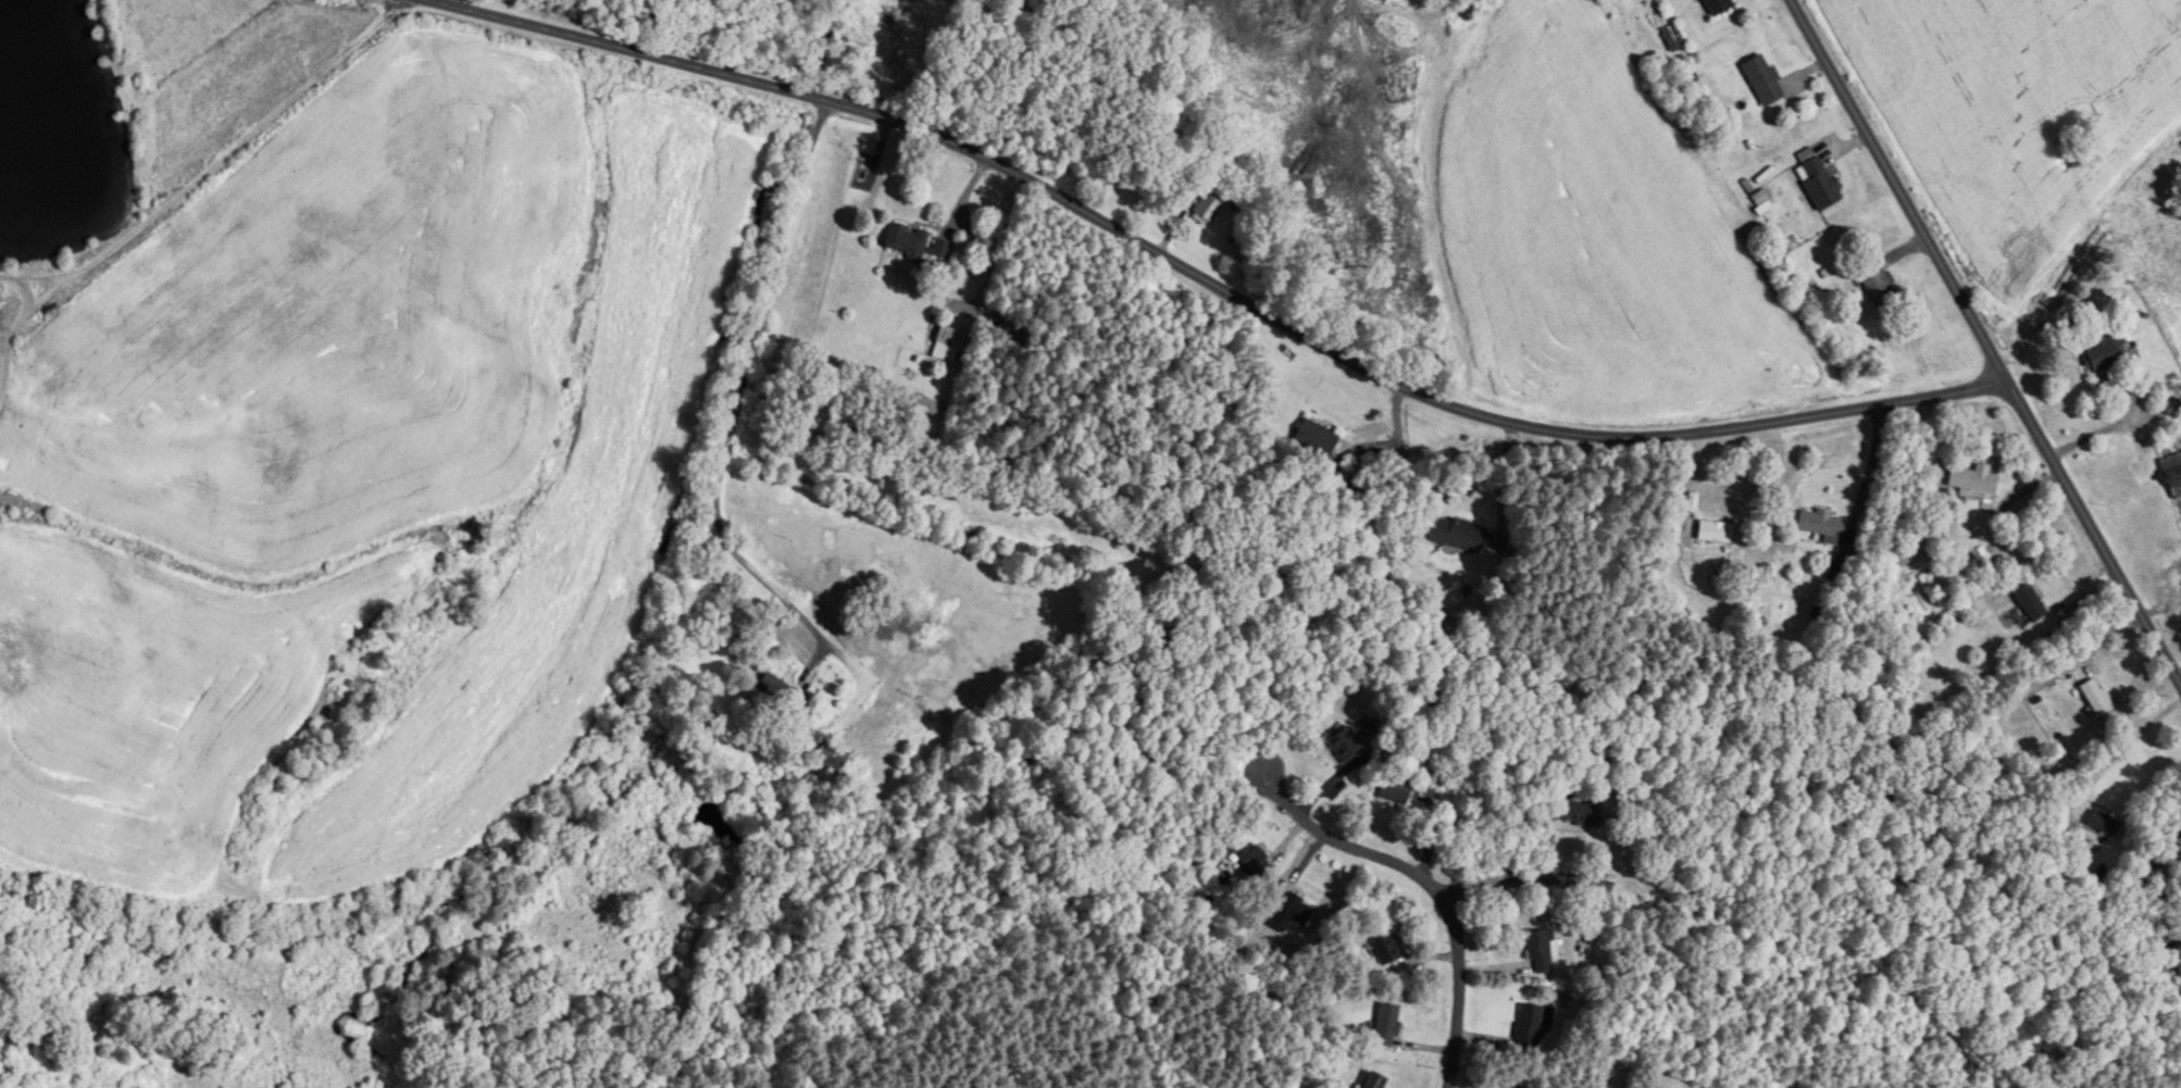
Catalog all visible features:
road: (429, 0)
building: (1715, 5)
building: (1672, 38)
building: (1761, 80)
road: (215, 165)
building: (1815, 179)
road: (967, 193)
building: (1208, 211)
building: (918, 242)
road: (1207, 282)
building: (1877, 285)
building: (950, 343)
road: (1984, 343)
building: (2105, 353)
road: (737, 407)
building: (2170, 408)
road: (2094, 434)
building: (1319, 439)
road: (1396, 441)
road: (1858, 459)
building: (2171, 474)
road: (1499, 477)
building: (1972, 480)
building: (1822, 524)
building: (1716, 532)
building: (1453, 534)
building: (2028, 602)
road: (2180, 683)
building: (775, 689)
building: (2094, 697)
building: (1346, 745)
road: (2116, 753)
building: (833, 758)
building: (1398, 787)
building: (1582, 813)
building: (2101, 823)
building: (1252, 859)
road: (1541, 879)
road: (1431, 886)
building: (1388, 949)
building: (1541, 951)
building: (1389, 1021)
building: (1533, 1023)
building: (1379, 1080)

